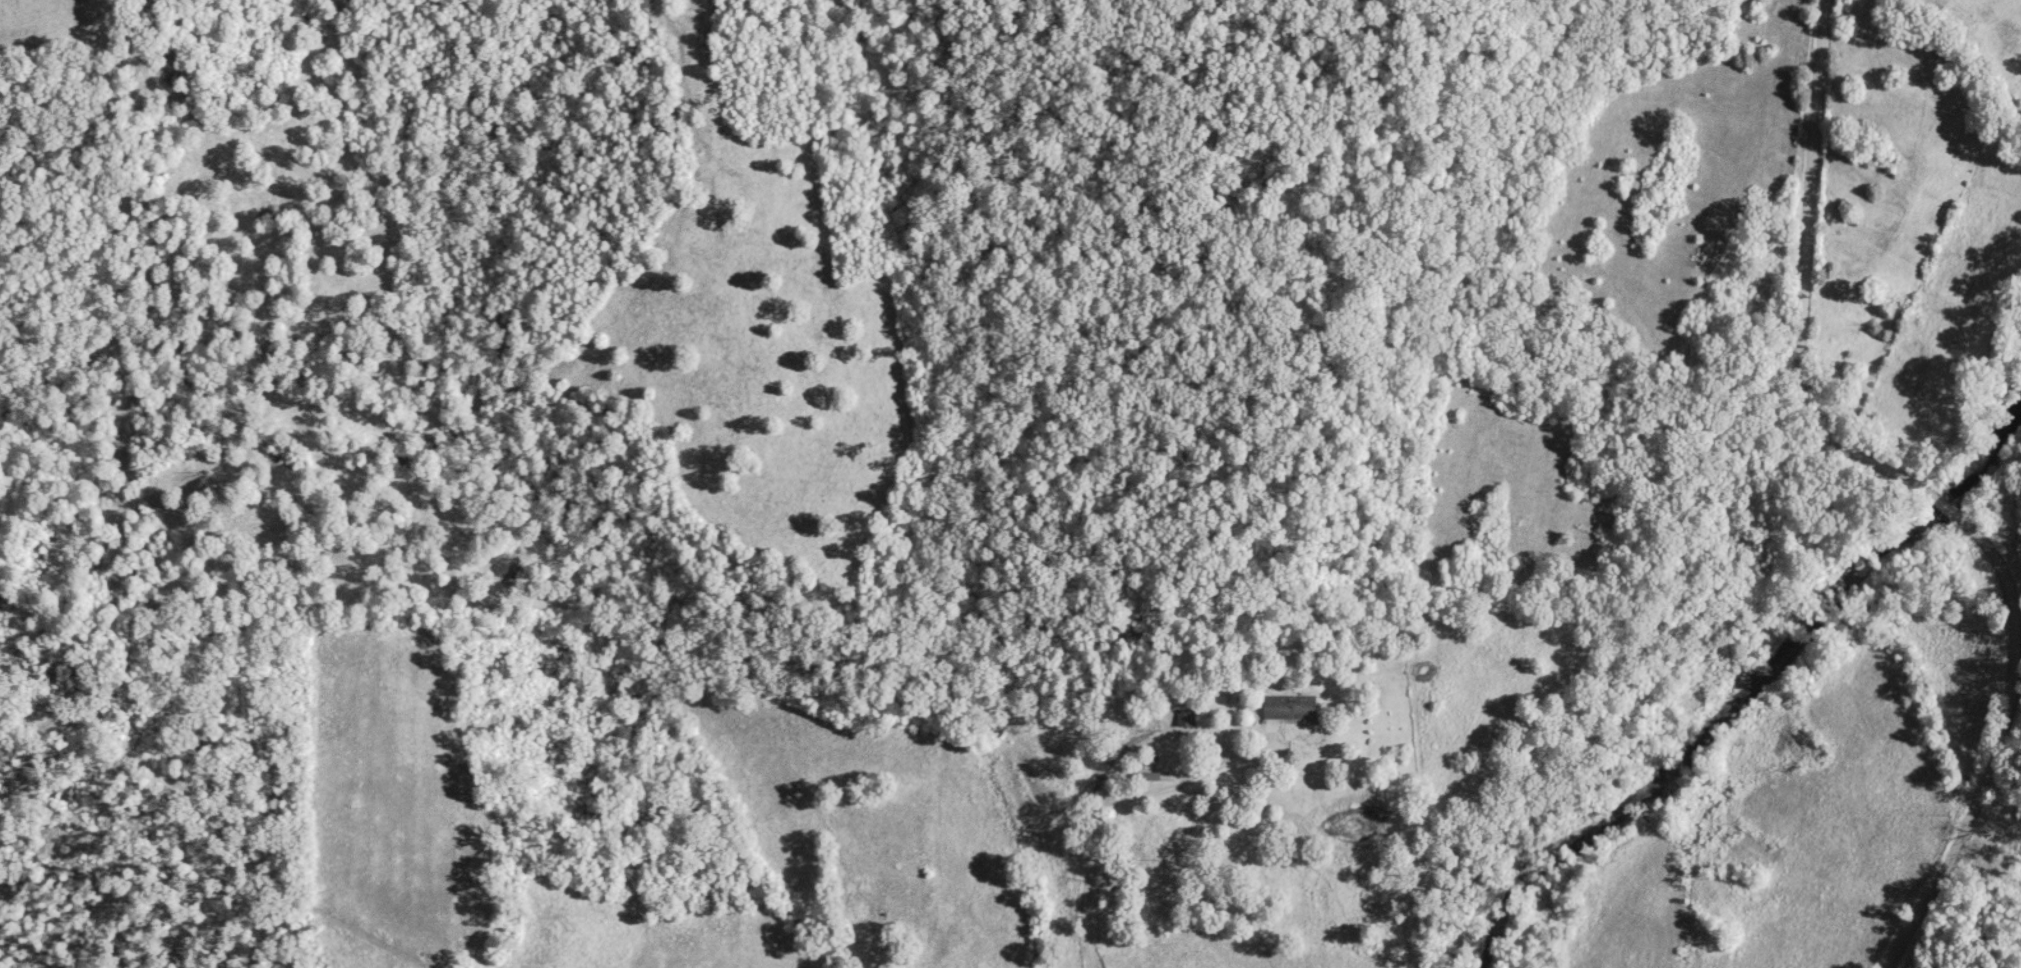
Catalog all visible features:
road: (1926, 485)
building: (1293, 709)
building: (1186, 720)
building: (1148, 777)
road: (1104, 793)

